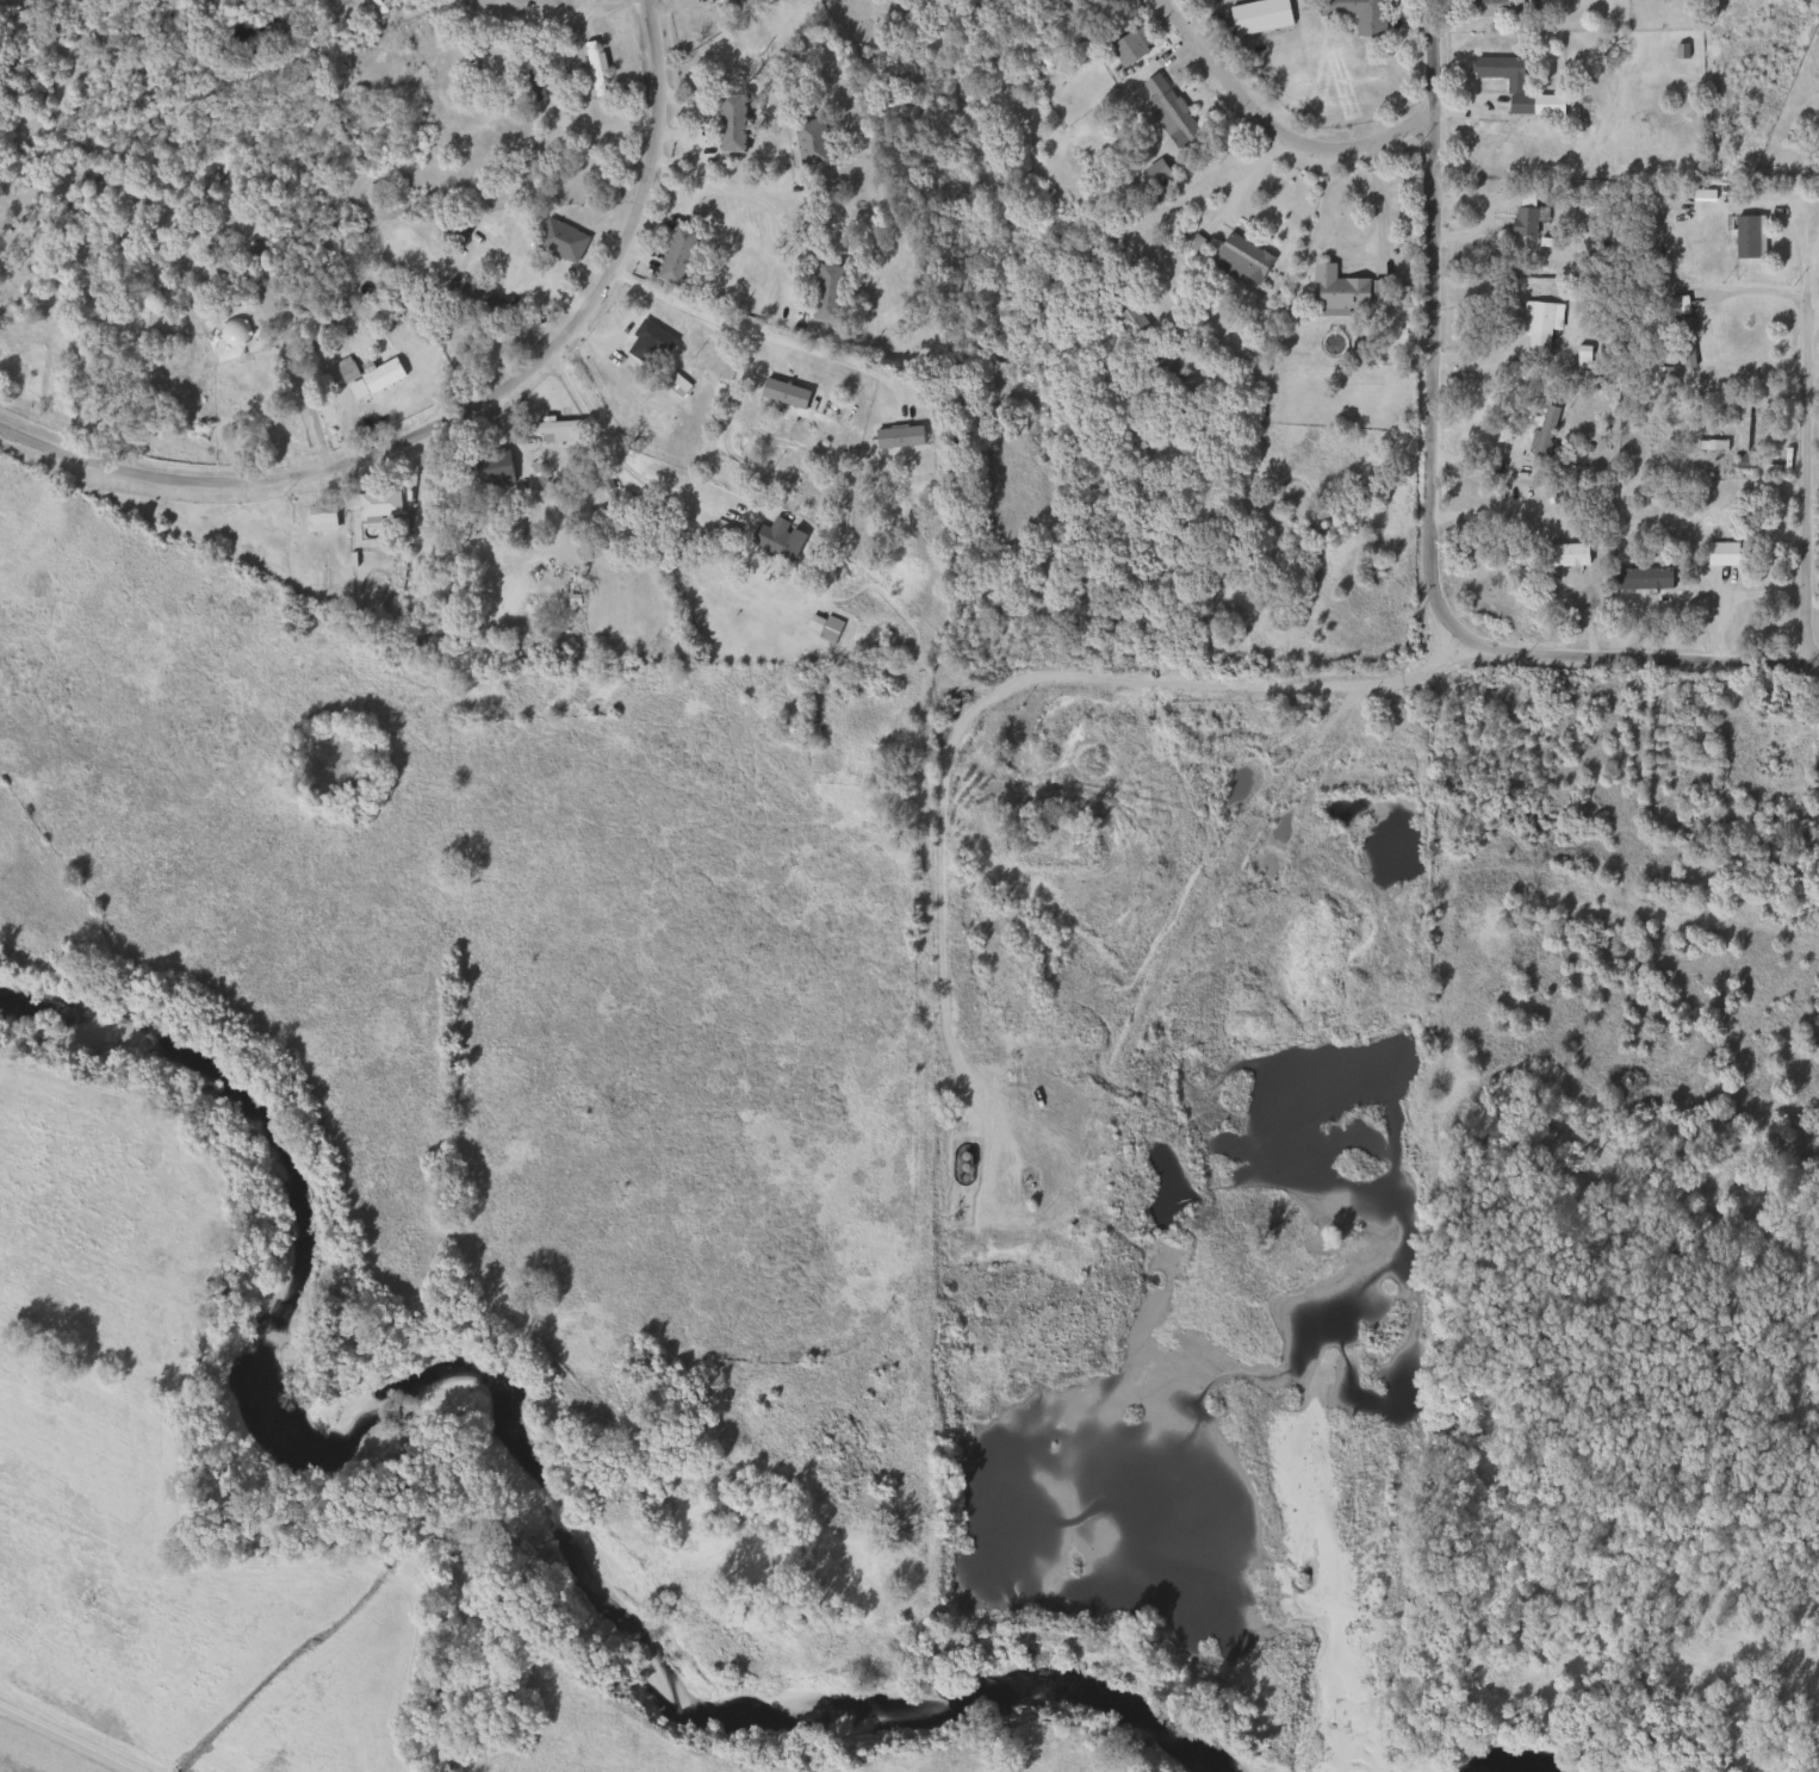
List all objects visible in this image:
building: (718, 4)
building: (1488, 7)
building: (1354, 14)
building: (1255, 17)
building: (429, 26)
building: (1818, 38)
building: (1123, 48)
building: (591, 70)
building: (529, 75)
building: (467, 76)
building: (1513, 87)
road: (430, 93)
building: (1165, 111)
building: (1013, 113)
building: (728, 123)
road: (1268, 131)
building: (807, 143)
building: (530, 169)
building: (1153, 170)
road: (700, 181)
road: (1374, 199)
building: (1521, 220)
building: (1739, 231)
building: (557, 241)
building: (672, 255)
building: (1237, 259)
building: (253, 262)
building: (1130, 272)
road: (528, 278)
building: (1334, 288)
building: (822, 293)
building: (1675, 305)
building: (662, 317)
building: (1541, 317)
building: (1128, 322)
road: (1426, 324)
road: (762, 335)
building: (1674, 342)
building: (1624, 363)
building: (365, 377)
road: (300, 393)
road: (462, 410)
building: (1739, 423)
building: (551, 425)
building: (1540, 430)
road: (1802, 434)
building: (1707, 444)
road: (610, 453)
building: (603, 486)
building: (374, 504)
road: (1479, 514)
building: (317, 517)
building: (774, 539)
building: (1552, 545)
building: (1718, 554)
building: (1634, 578)
building: (821, 627)
road: (1638, 653)
road: (1050, 682)
building: (1813, 766)
building: (1805, 838)
river: (499, 1401)
airport runway: (77, 1734)
river: (1523, 1762)

